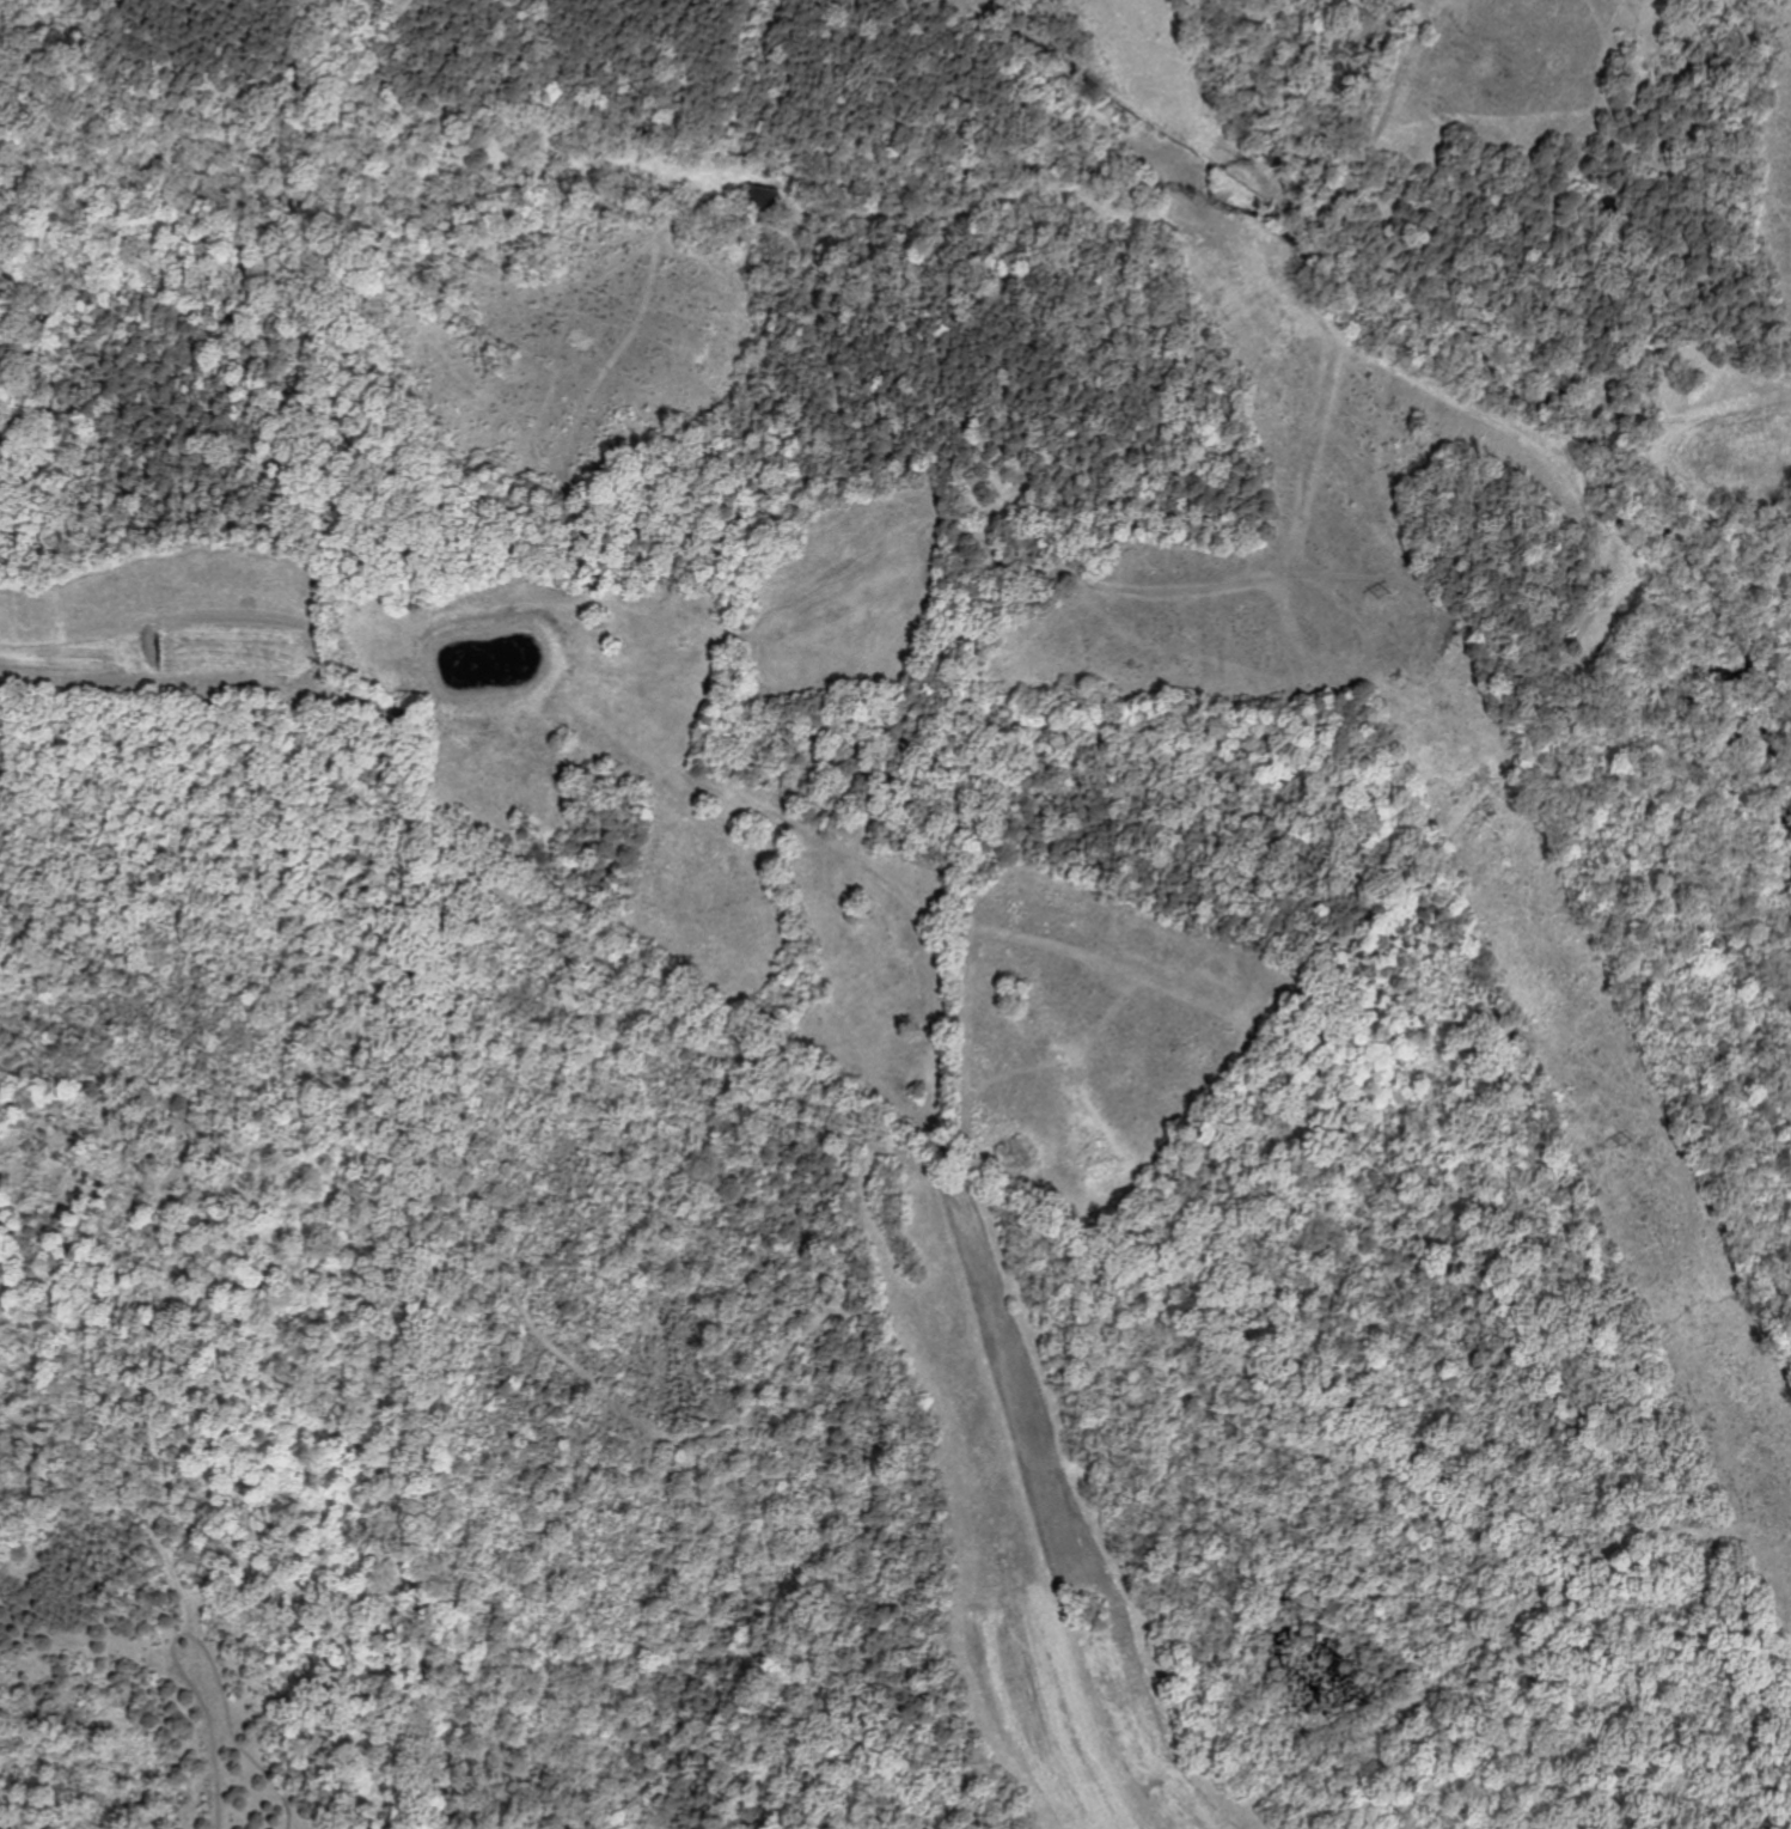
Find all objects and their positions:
power tower: (1388, 587)
road: (747, 1069)
power tower: (1630, 1140)

